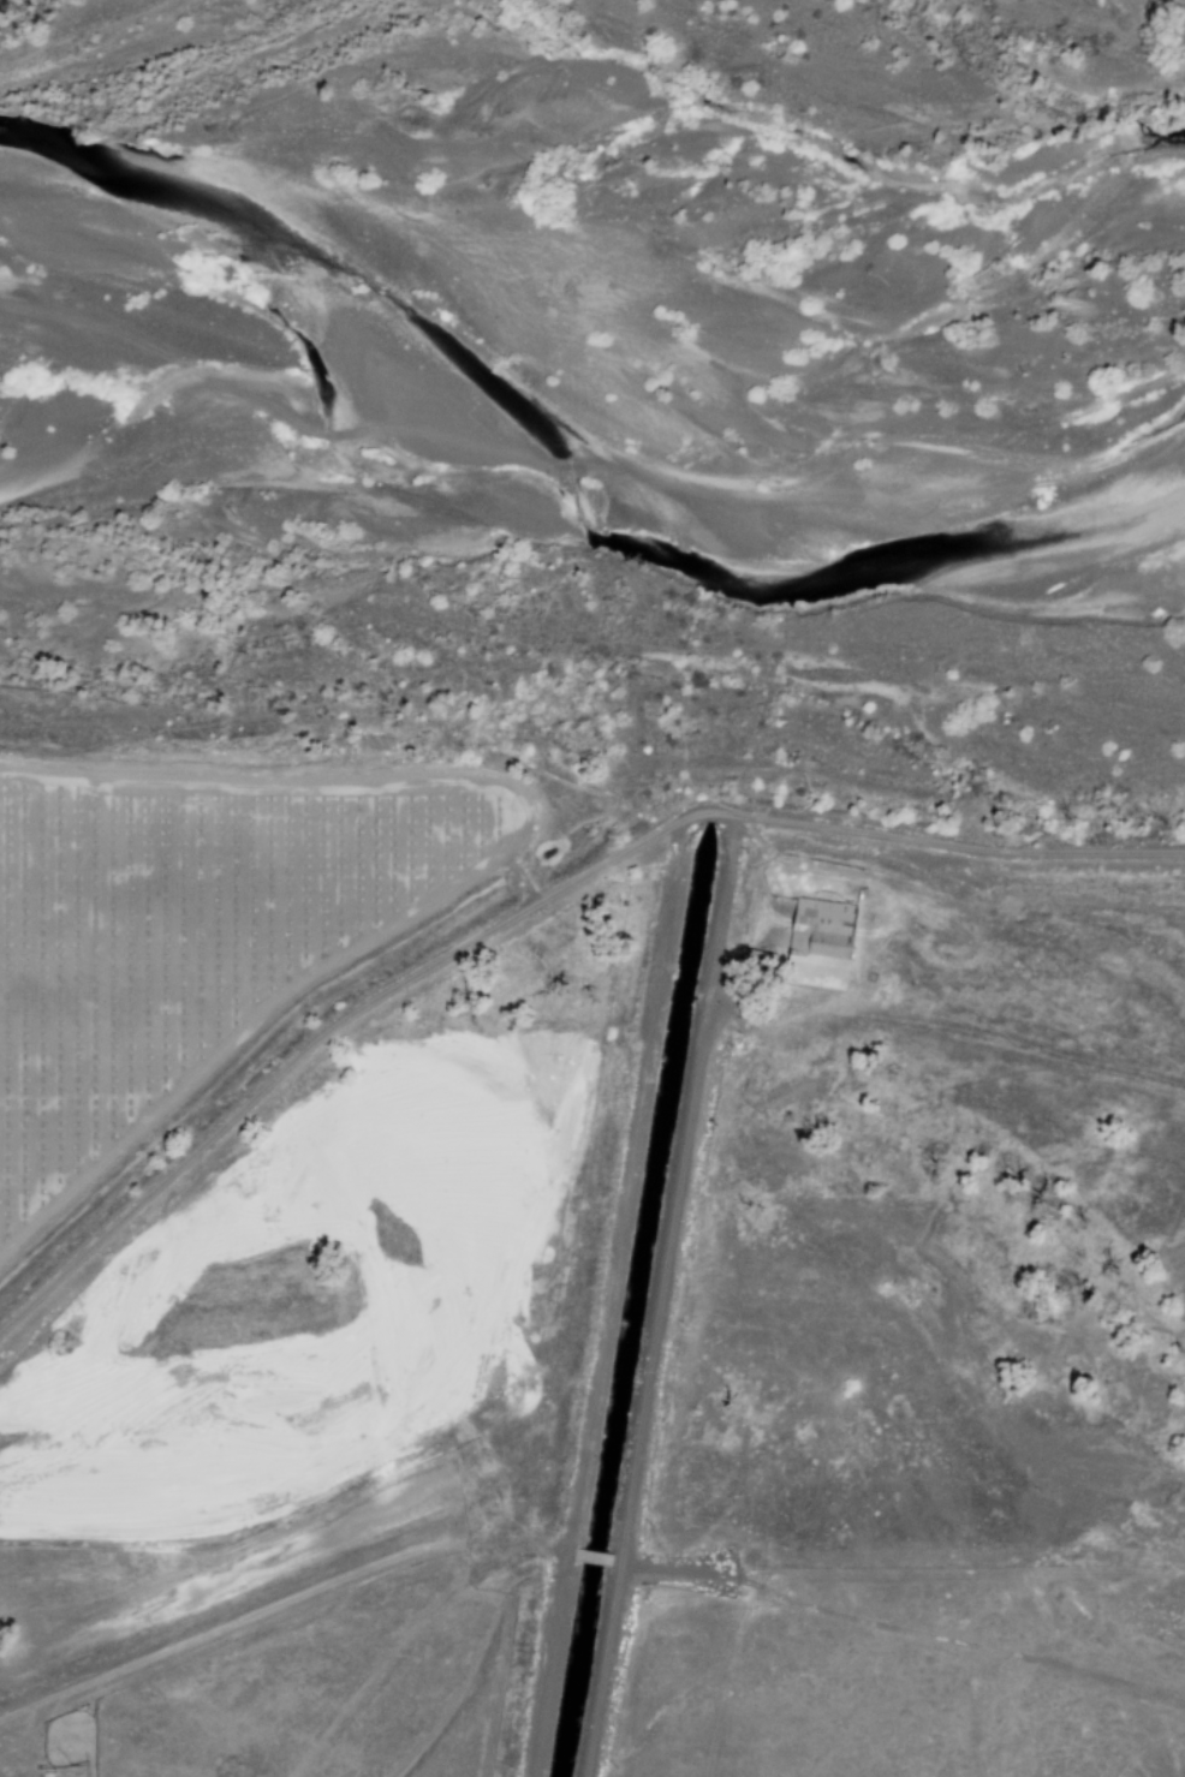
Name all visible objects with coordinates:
river: (580, 465)
building: (821, 944)

